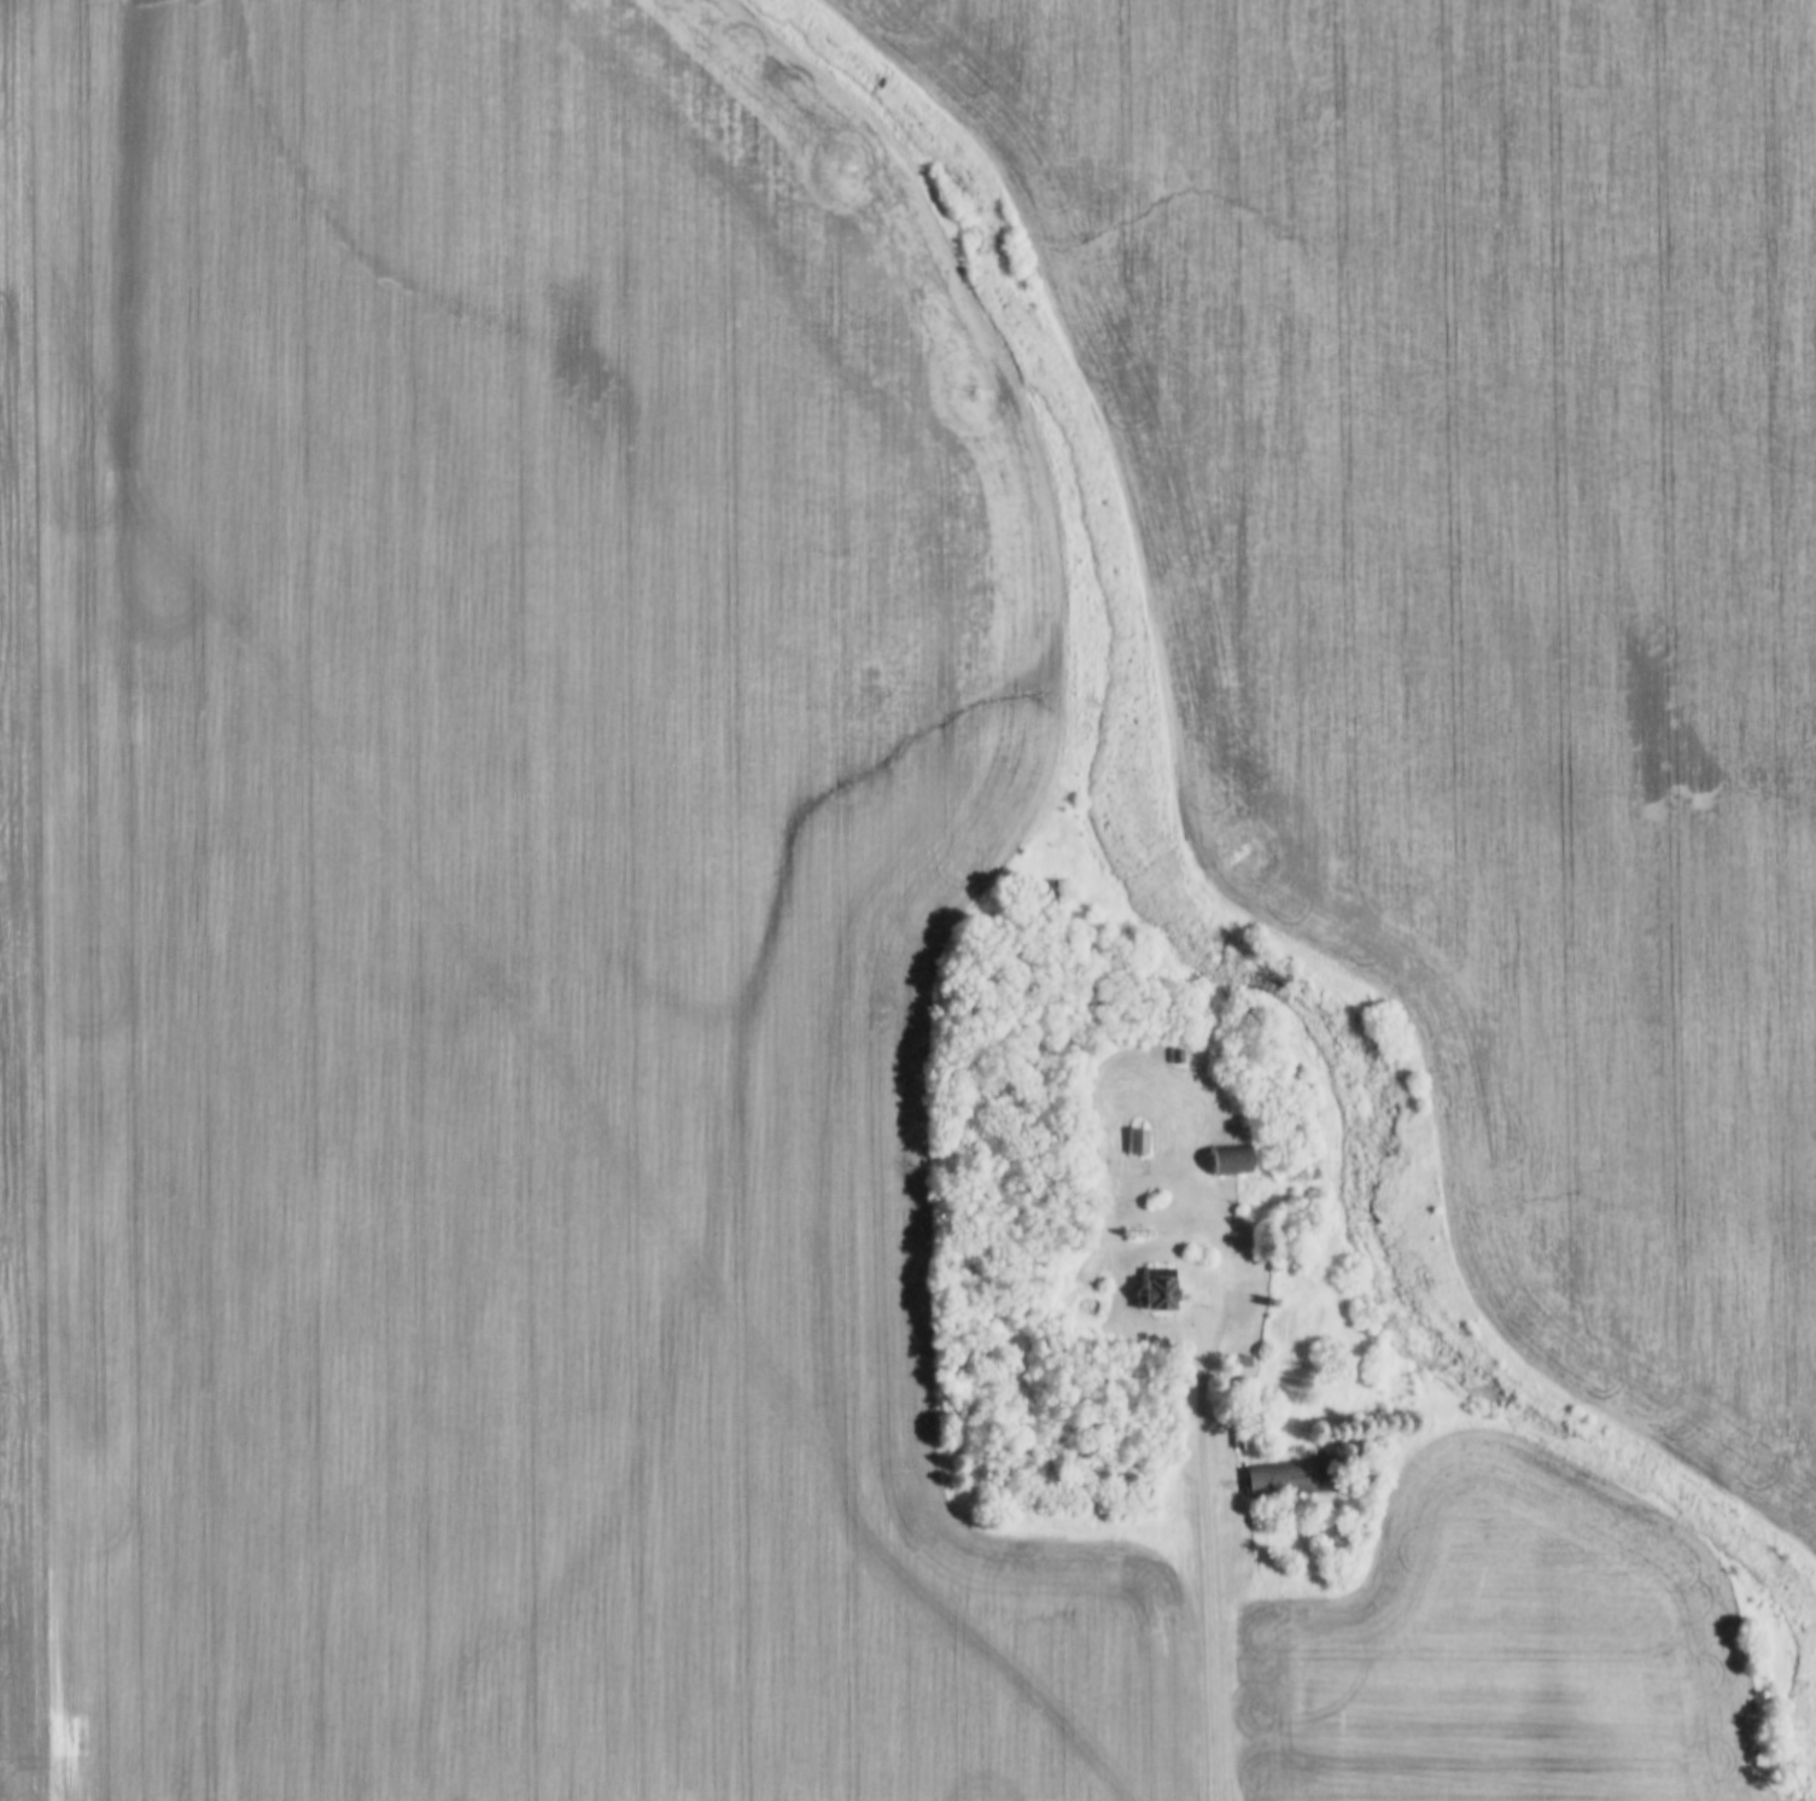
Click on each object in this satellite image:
road: (1204, 1535)

